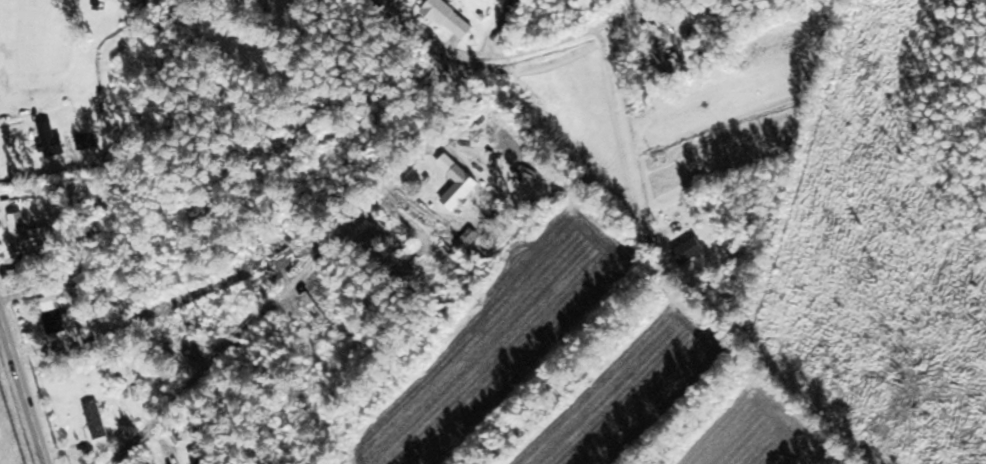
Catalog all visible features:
building: (453, 18)
road: (585, 32)
building: (665, 63)
building: (53, 139)
building: (463, 186)
building: (30, 234)
building: (693, 250)
road: (272, 305)
building: (58, 315)
road: (22, 391)
building: (99, 421)

